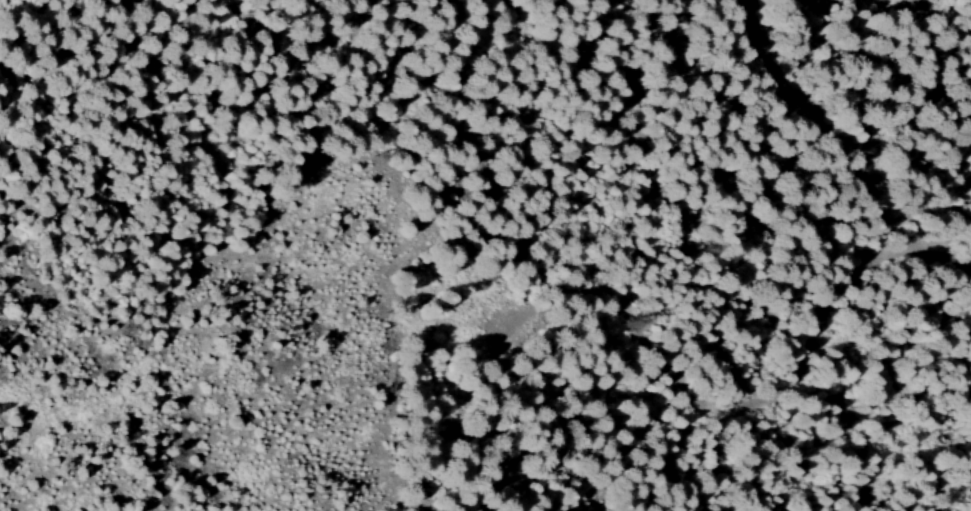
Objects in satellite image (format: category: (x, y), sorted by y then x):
road: (821, 161)

